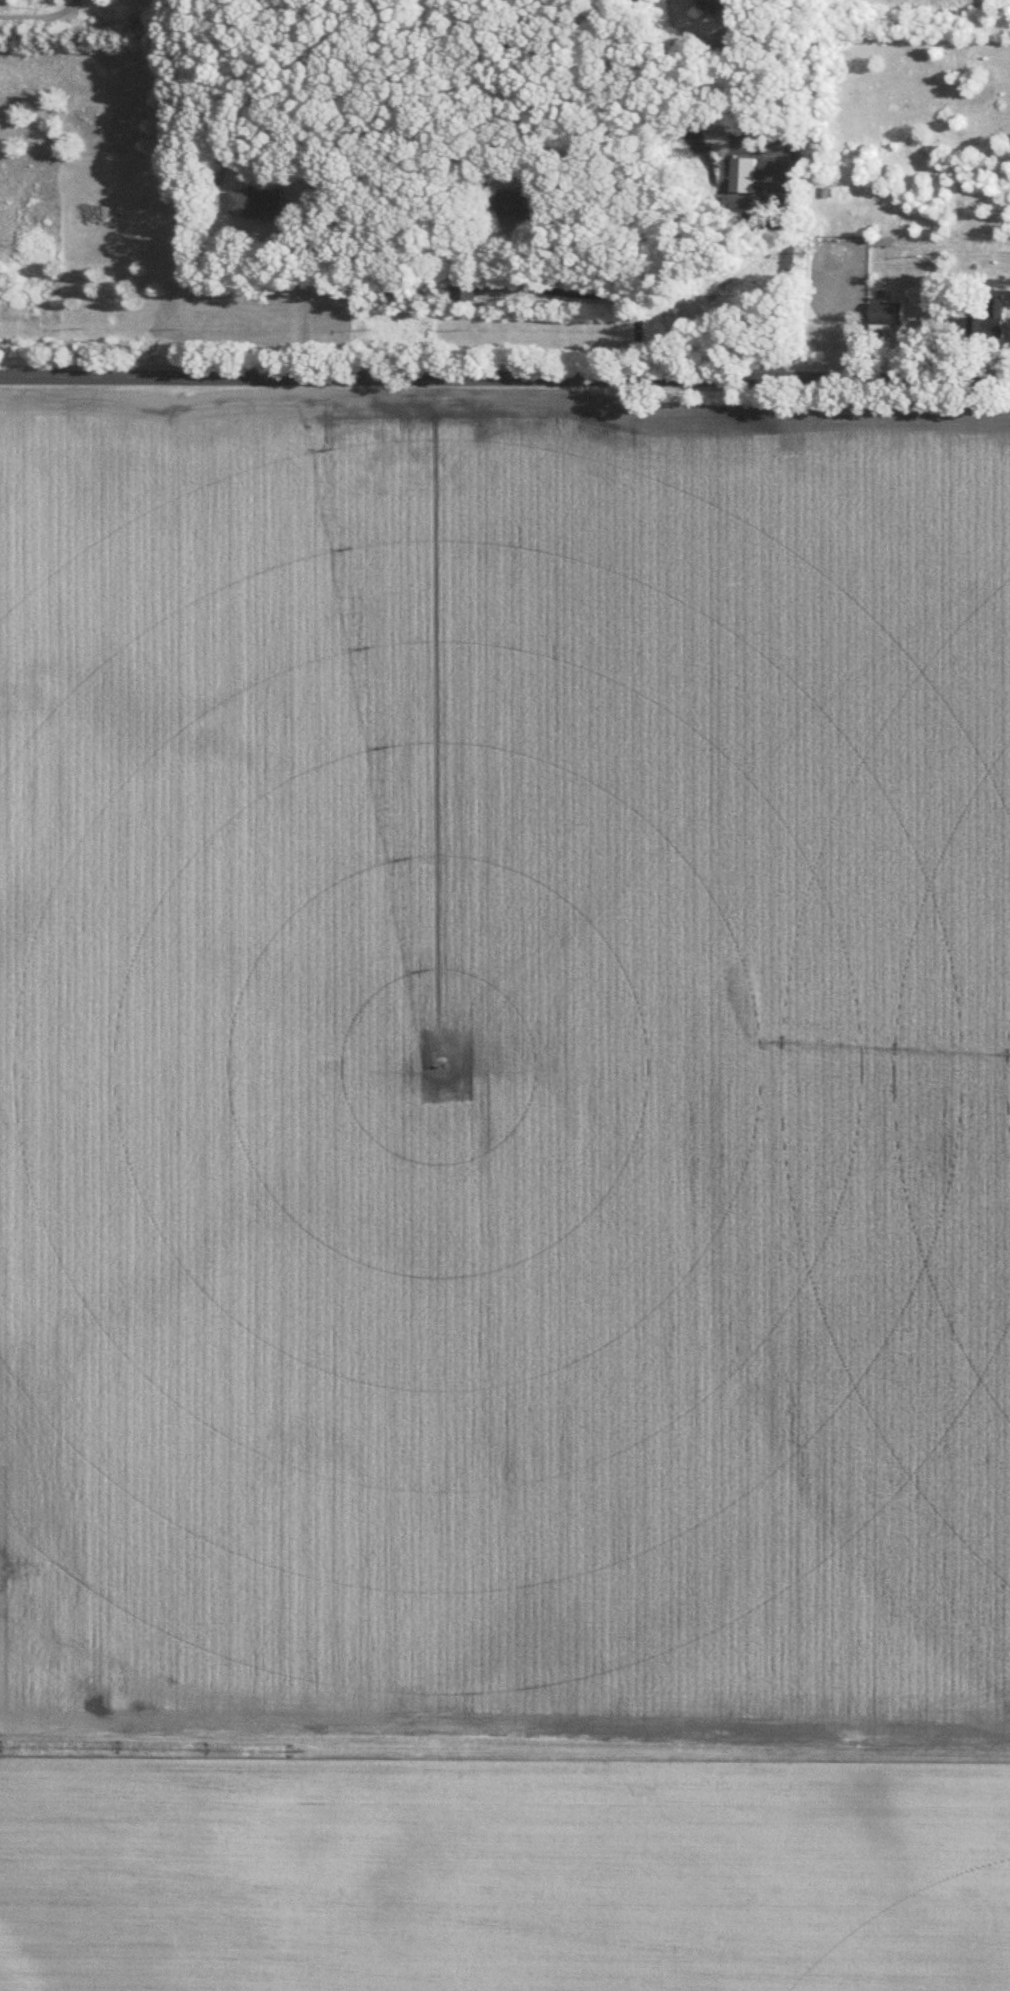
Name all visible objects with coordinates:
building: (717, 5)
road: (37, 17)
building: (745, 172)
building: (827, 190)
road: (793, 199)
building: (255, 201)
building: (465, 285)
road: (590, 292)
road: (305, 294)
building: (888, 311)
building: (992, 315)
road: (505, 377)
crop: (505, 1080)
crop: (500, 1876)

